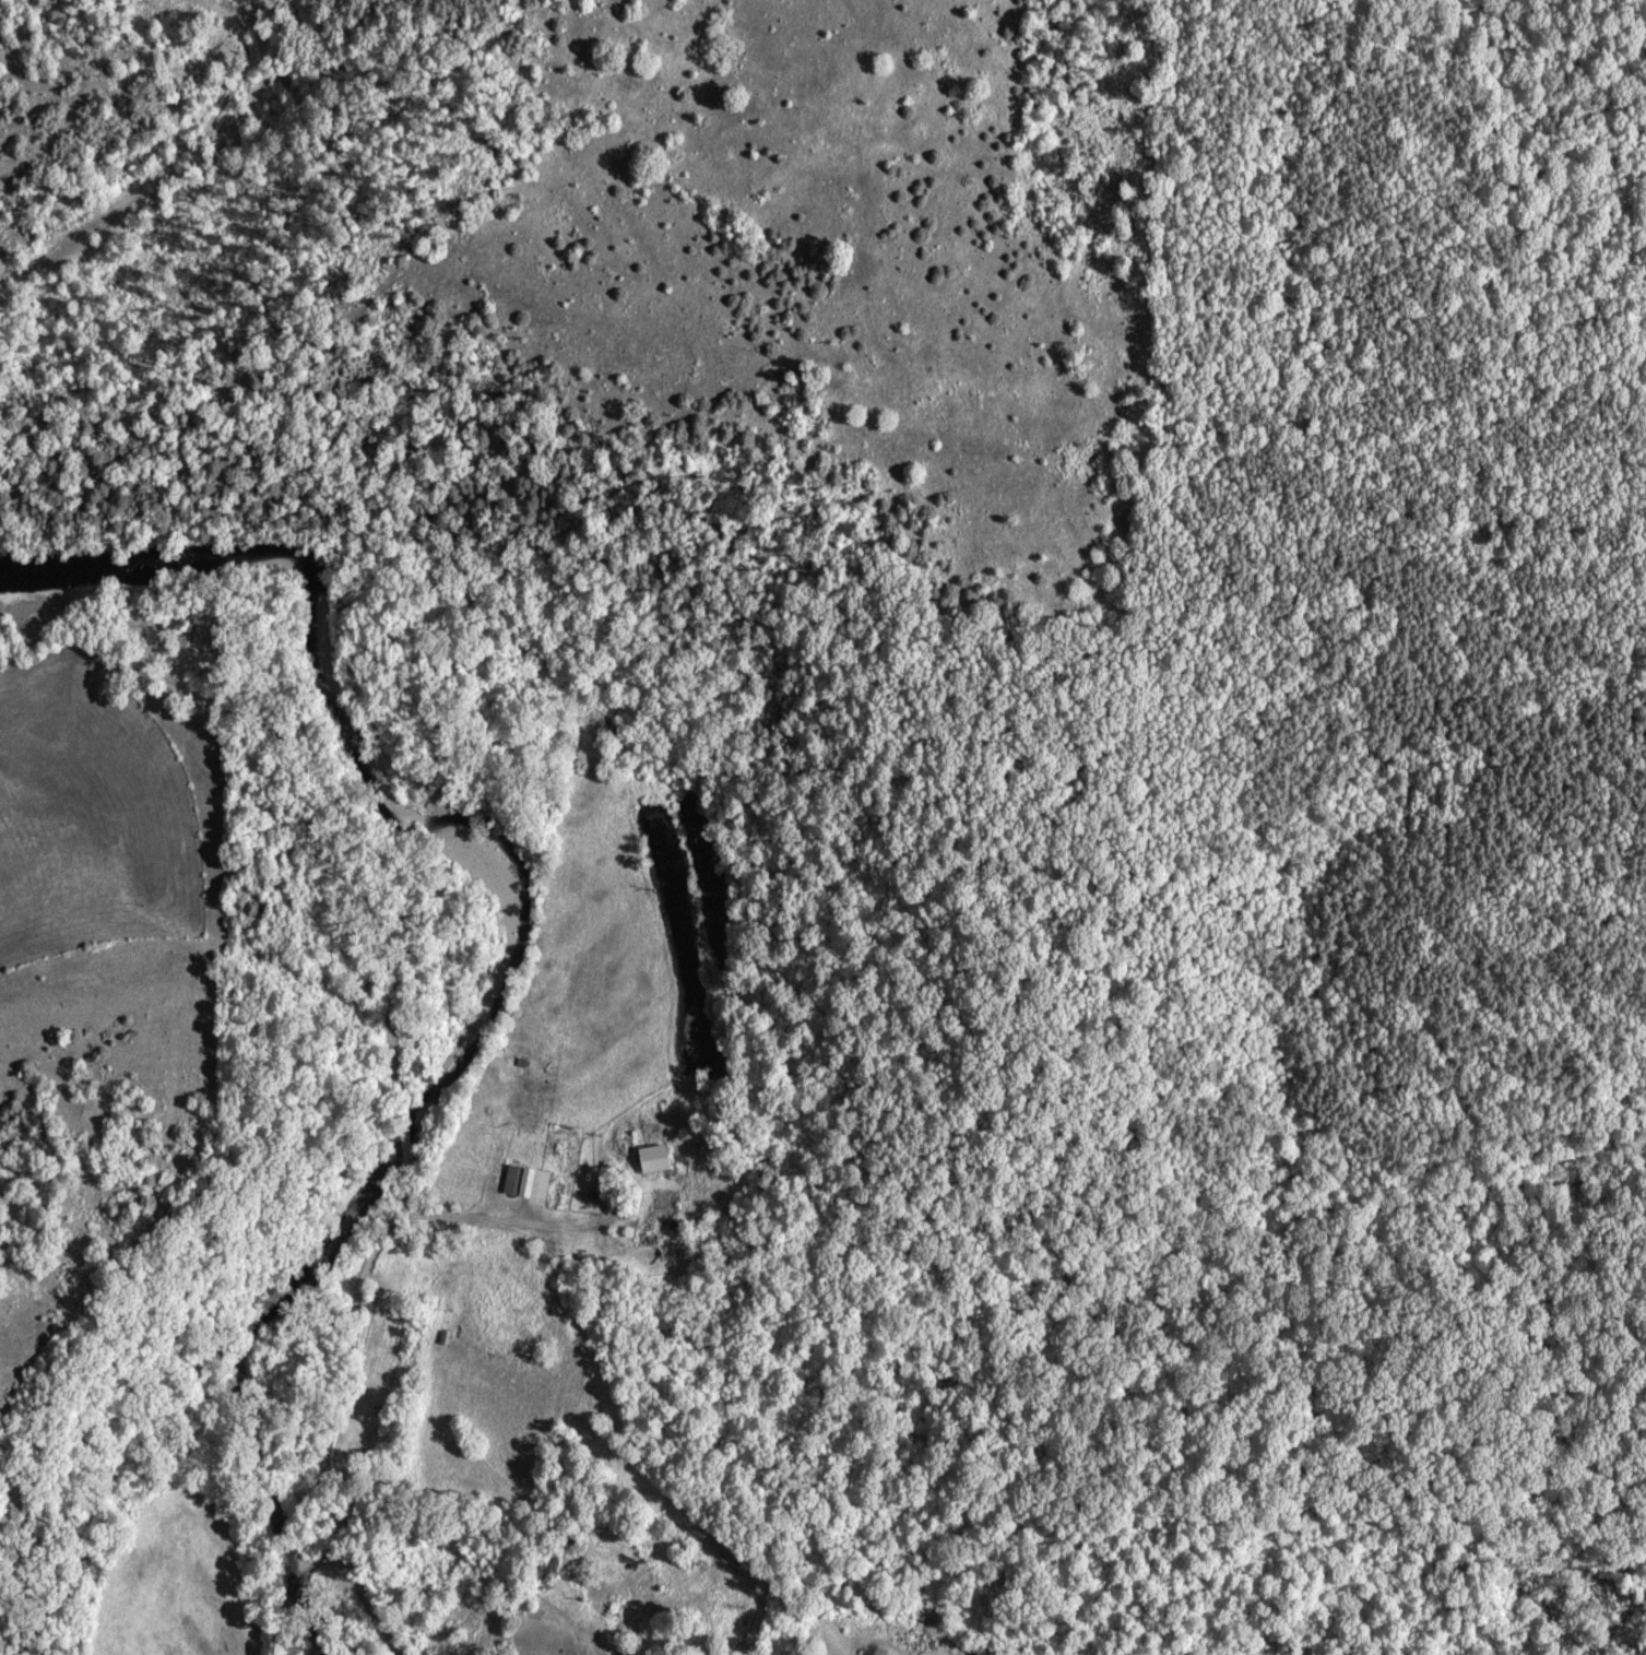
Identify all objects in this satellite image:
road: (335, 996)
building: (662, 1158)
building: (534, 1181)
road: (450, 1214)
road: (358, 1585)
road: (296, 1598)

